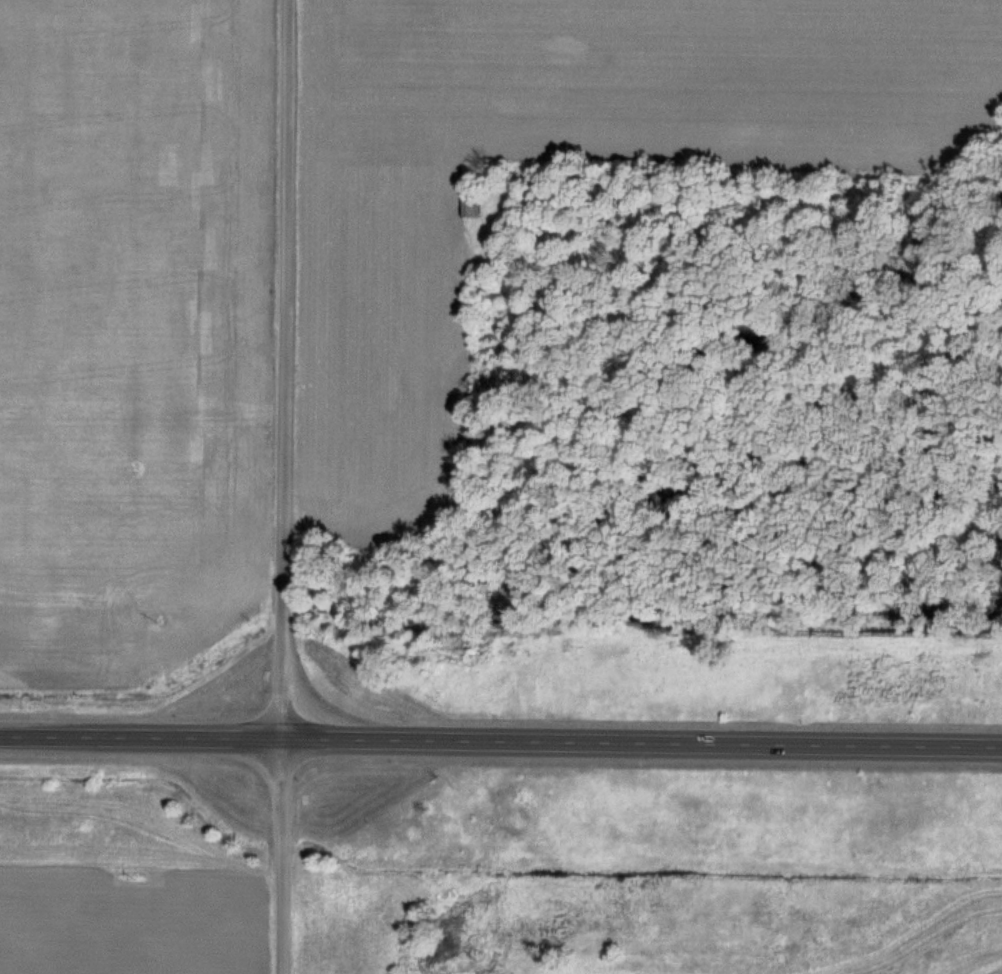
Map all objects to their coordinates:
building: (471, 201)
road: (281, 486)
road: (501, 735)

